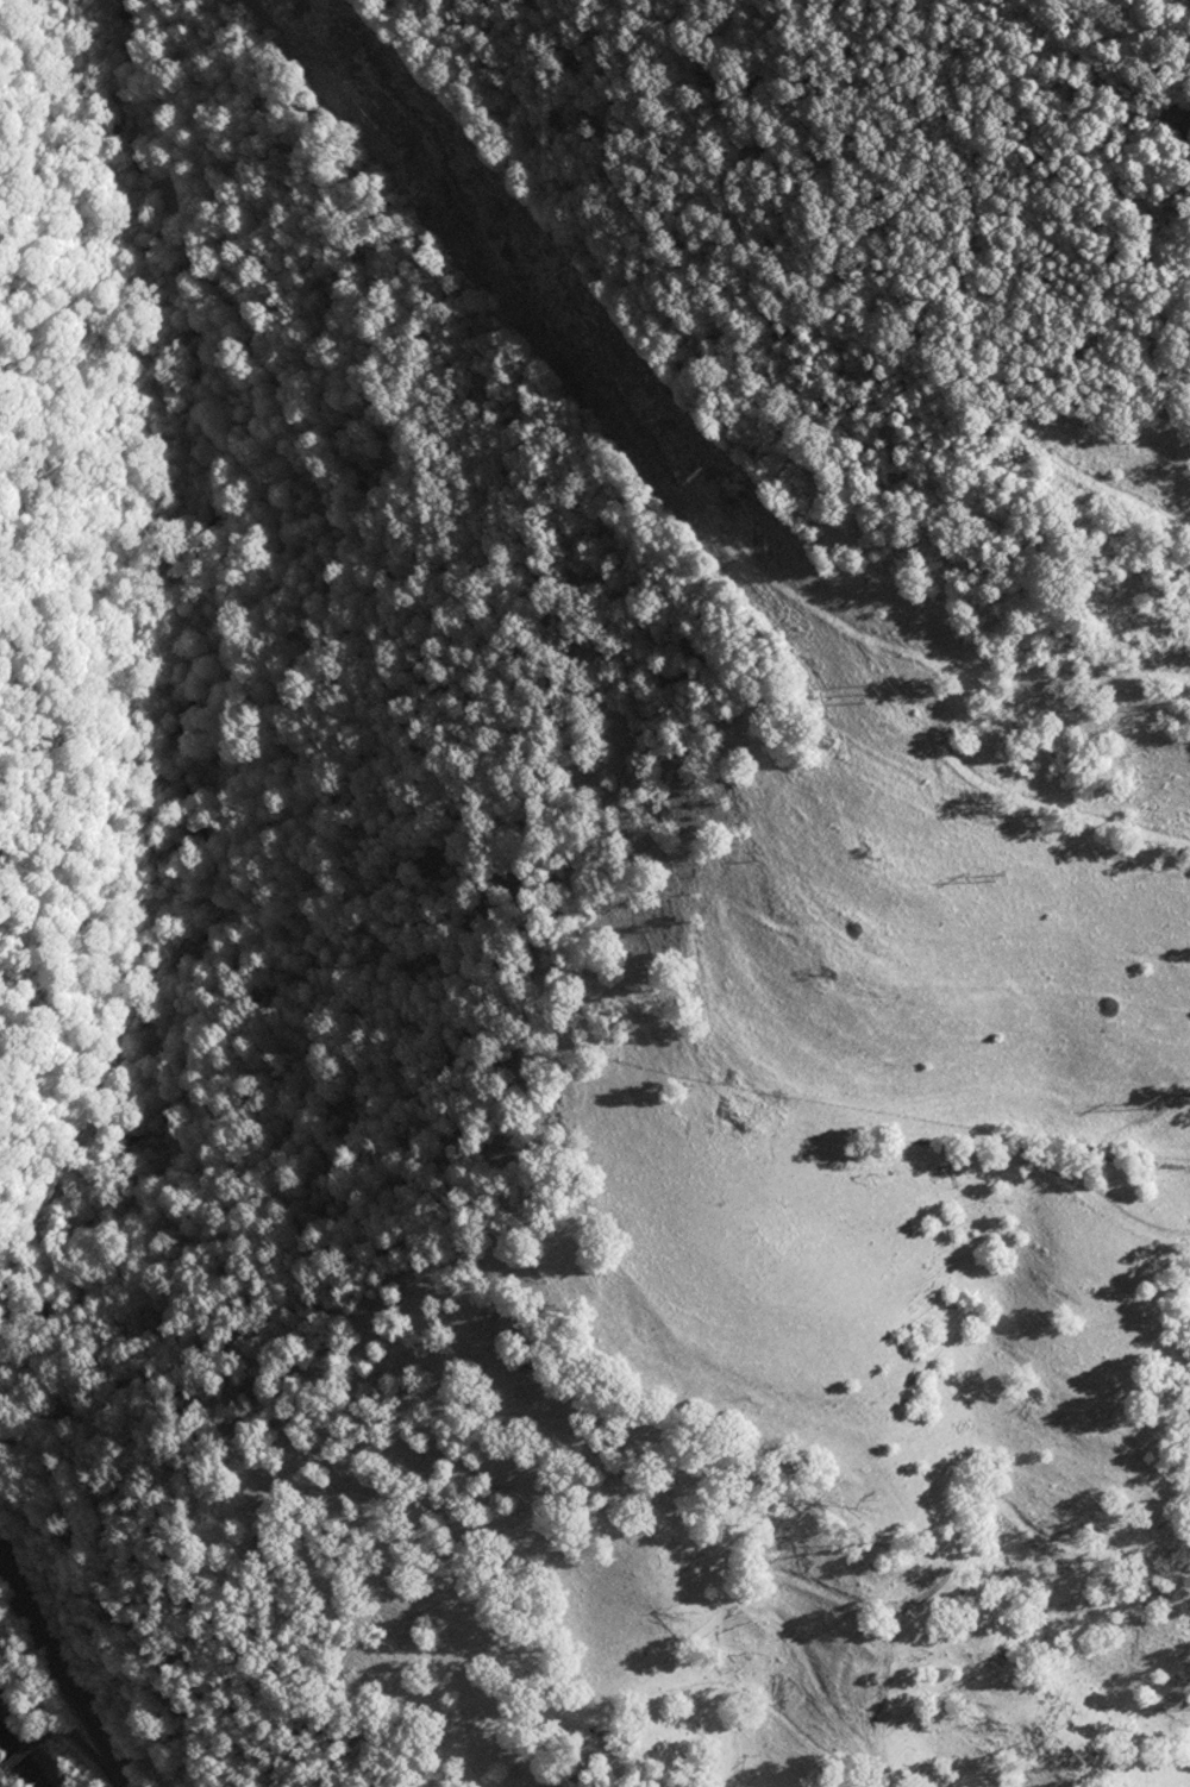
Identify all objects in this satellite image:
road: (65, 1668)
road: (74, 1735)
road: (15, 1752)
river: (20, 1763)
road: (0, 1766)

